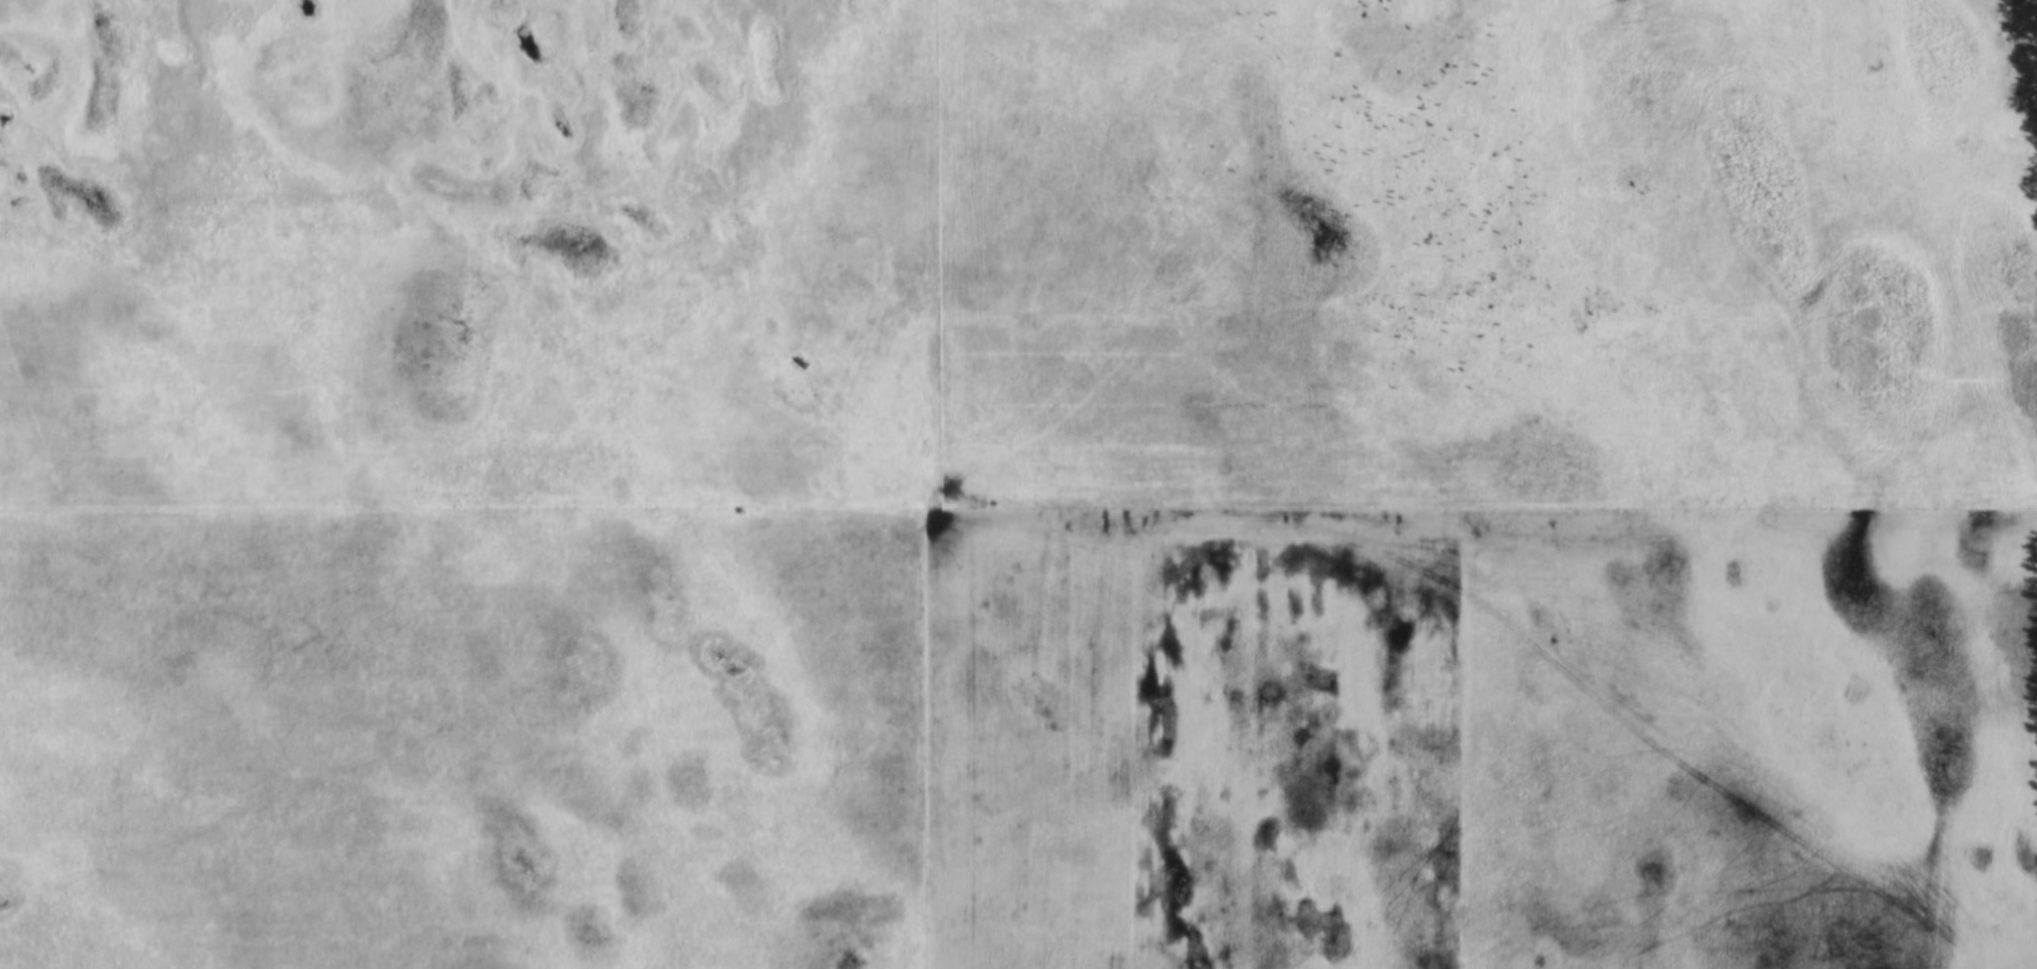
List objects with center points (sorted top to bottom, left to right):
road: (1544, 653)

